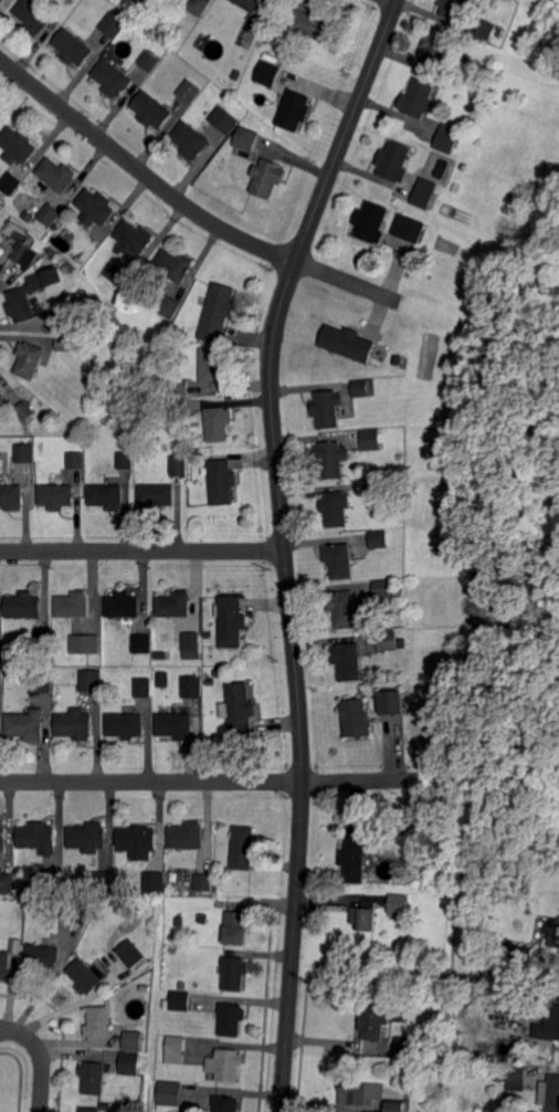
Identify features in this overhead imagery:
building: (1, 1)
building: (249, 4)
building: (199, 7)
building: (453, 8)
building: (33, 17)
building: (113, 24)
building: (316, 25)
building: (486, 30)
building: (498, 31)
building: (477, 45)
building: (73, 48)
building: (436, 49)
building: (149, 60)
building: (236, 74)
building: (267, 74)
building: (113, 78)
building: (190, 91)
building: (420, 98)
building: (152, 109)
building: (295, 109)
building: (224, 120)
building: (247, 138)
building: (447, 138)
building: (191, 140)
building: (18, 146)
building: (394, 161)
building: (57, 175)
building: (267, 178)
building: (10, 182)
building: (425, 192)
road: (187, 206)
building: (95, 208)
building: (50, 214)
building: (371, 222)
building: (409, 228)
building: (133, 239)
building: (38, 251)
building: (21, 252)
building: (175, 265)
building: (2, 269)
building: (120, 274)
building: (21, 304)
building: (169, 306)
building: (219, 312)
building: (66, 318)
building: (65, 343)
building: (349, 343)
building: (29, 359)
building: (398, 360)
building: (214, 366)
building: (180, 387)
building: (363, 388)
building: (1, 394)
building: (177, 408)
building: (328, 408)
building: (25, 410)
building: (219, 423)
building: (369, 440)
building: (24, 453)
building: (330, 459)
building: (76, 460)
building: (125, 461)
building: (180, 465)
building: (223, 482)
building: (375, 484)
building: (157, 495)
building: (11, 496)
building: (56, 496)
building: (107, 496)
building: (336, 507)
building: (379, 539)
road: (284, 545)
road: (143, 550)
building: (340, 559)
building: (384, 588)
building: (74, 605)
building: (124, 605)
building: (175, 605)
building: (24, 606)
building: (344, 609)
building: (232, 621)
building: (191, 641)
building: (388, 641)
building: (42, 642)
building: (143, 643)
building: (87, 644)
building: (348, 661)
building: (11, 673)
building: (1, 680)
building: (162, 680)
building: (92, 681)
building: (42, 682)
building: (192, 686)
building: (145, 688)
building: (390, 703)
building: (241, 709)
building: (355, 717)
building: (25, 724)
building: (76, 724)
building: (126, 725)
building: (176, 725)
road: (207, 780)
building: (188, 835)
building: (3, 837)
building: (39, 837)
building: (89, 837)
building: (138, 838)
building: (244, 848)
building: (354, 856)
building: (225, 869)
building: (55, 879)
building: (104, 881)
building: (204, 881)
building: (8, 882)
building: (154, 882)
building: (398, 906)
building: (77, 912)
building: (103, 914)
building: (366, 915)
building: (203, 919)
building: (236, 927)
building: (552, 933)
building: (131, 953)
building: (525, 954)
building: (44, 956)
building: (6, 963)
building: (506, 968)
building: (234, 973)
building: (86, 976)
building: (180, 999)
building: (511, 1004)
building: (231, 1017)
building: (556, 1020)
building: (371, 1021)
building: (99, 1022)
building: (131, 1040)
building: (436, 1045)
building: (407, 1047)
building: (176, 1051)
road: (41, 1057)
building: (130, 1062)
building: (226, 1063)
building: (513, 1073)
building: (94, 1077)
building: (360, 1092)
building: (553, 1092)
building: (226, 1103)
building: (395, 1106)
building: (91, 1109)

